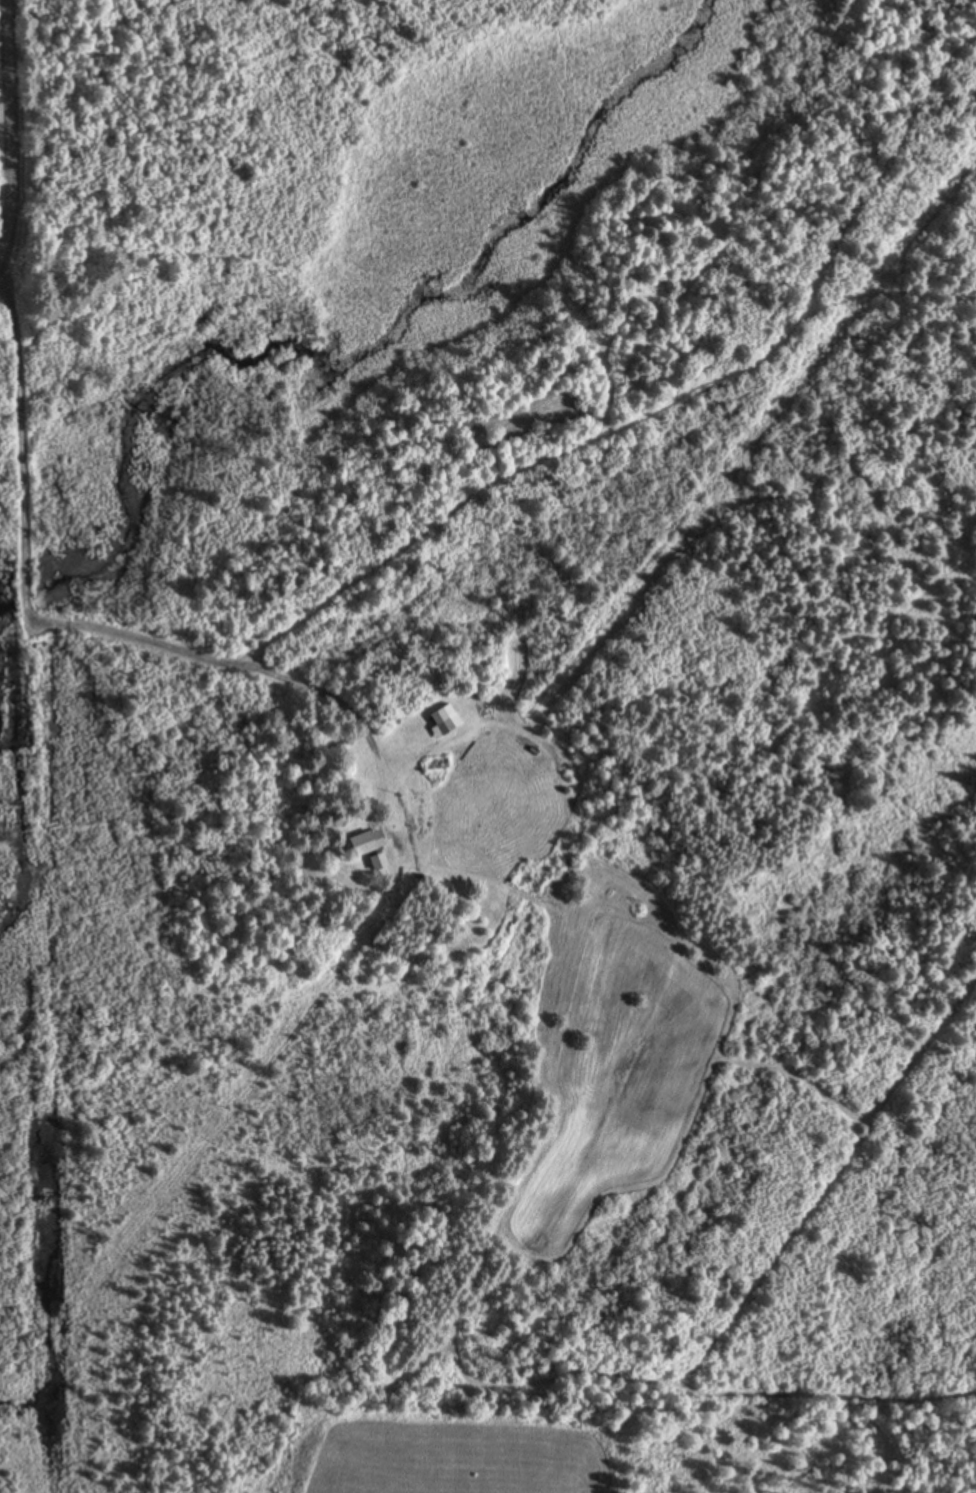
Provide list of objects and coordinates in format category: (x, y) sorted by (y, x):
road: (9, 136)
building: (360, 843)
road: (47, 1329)

